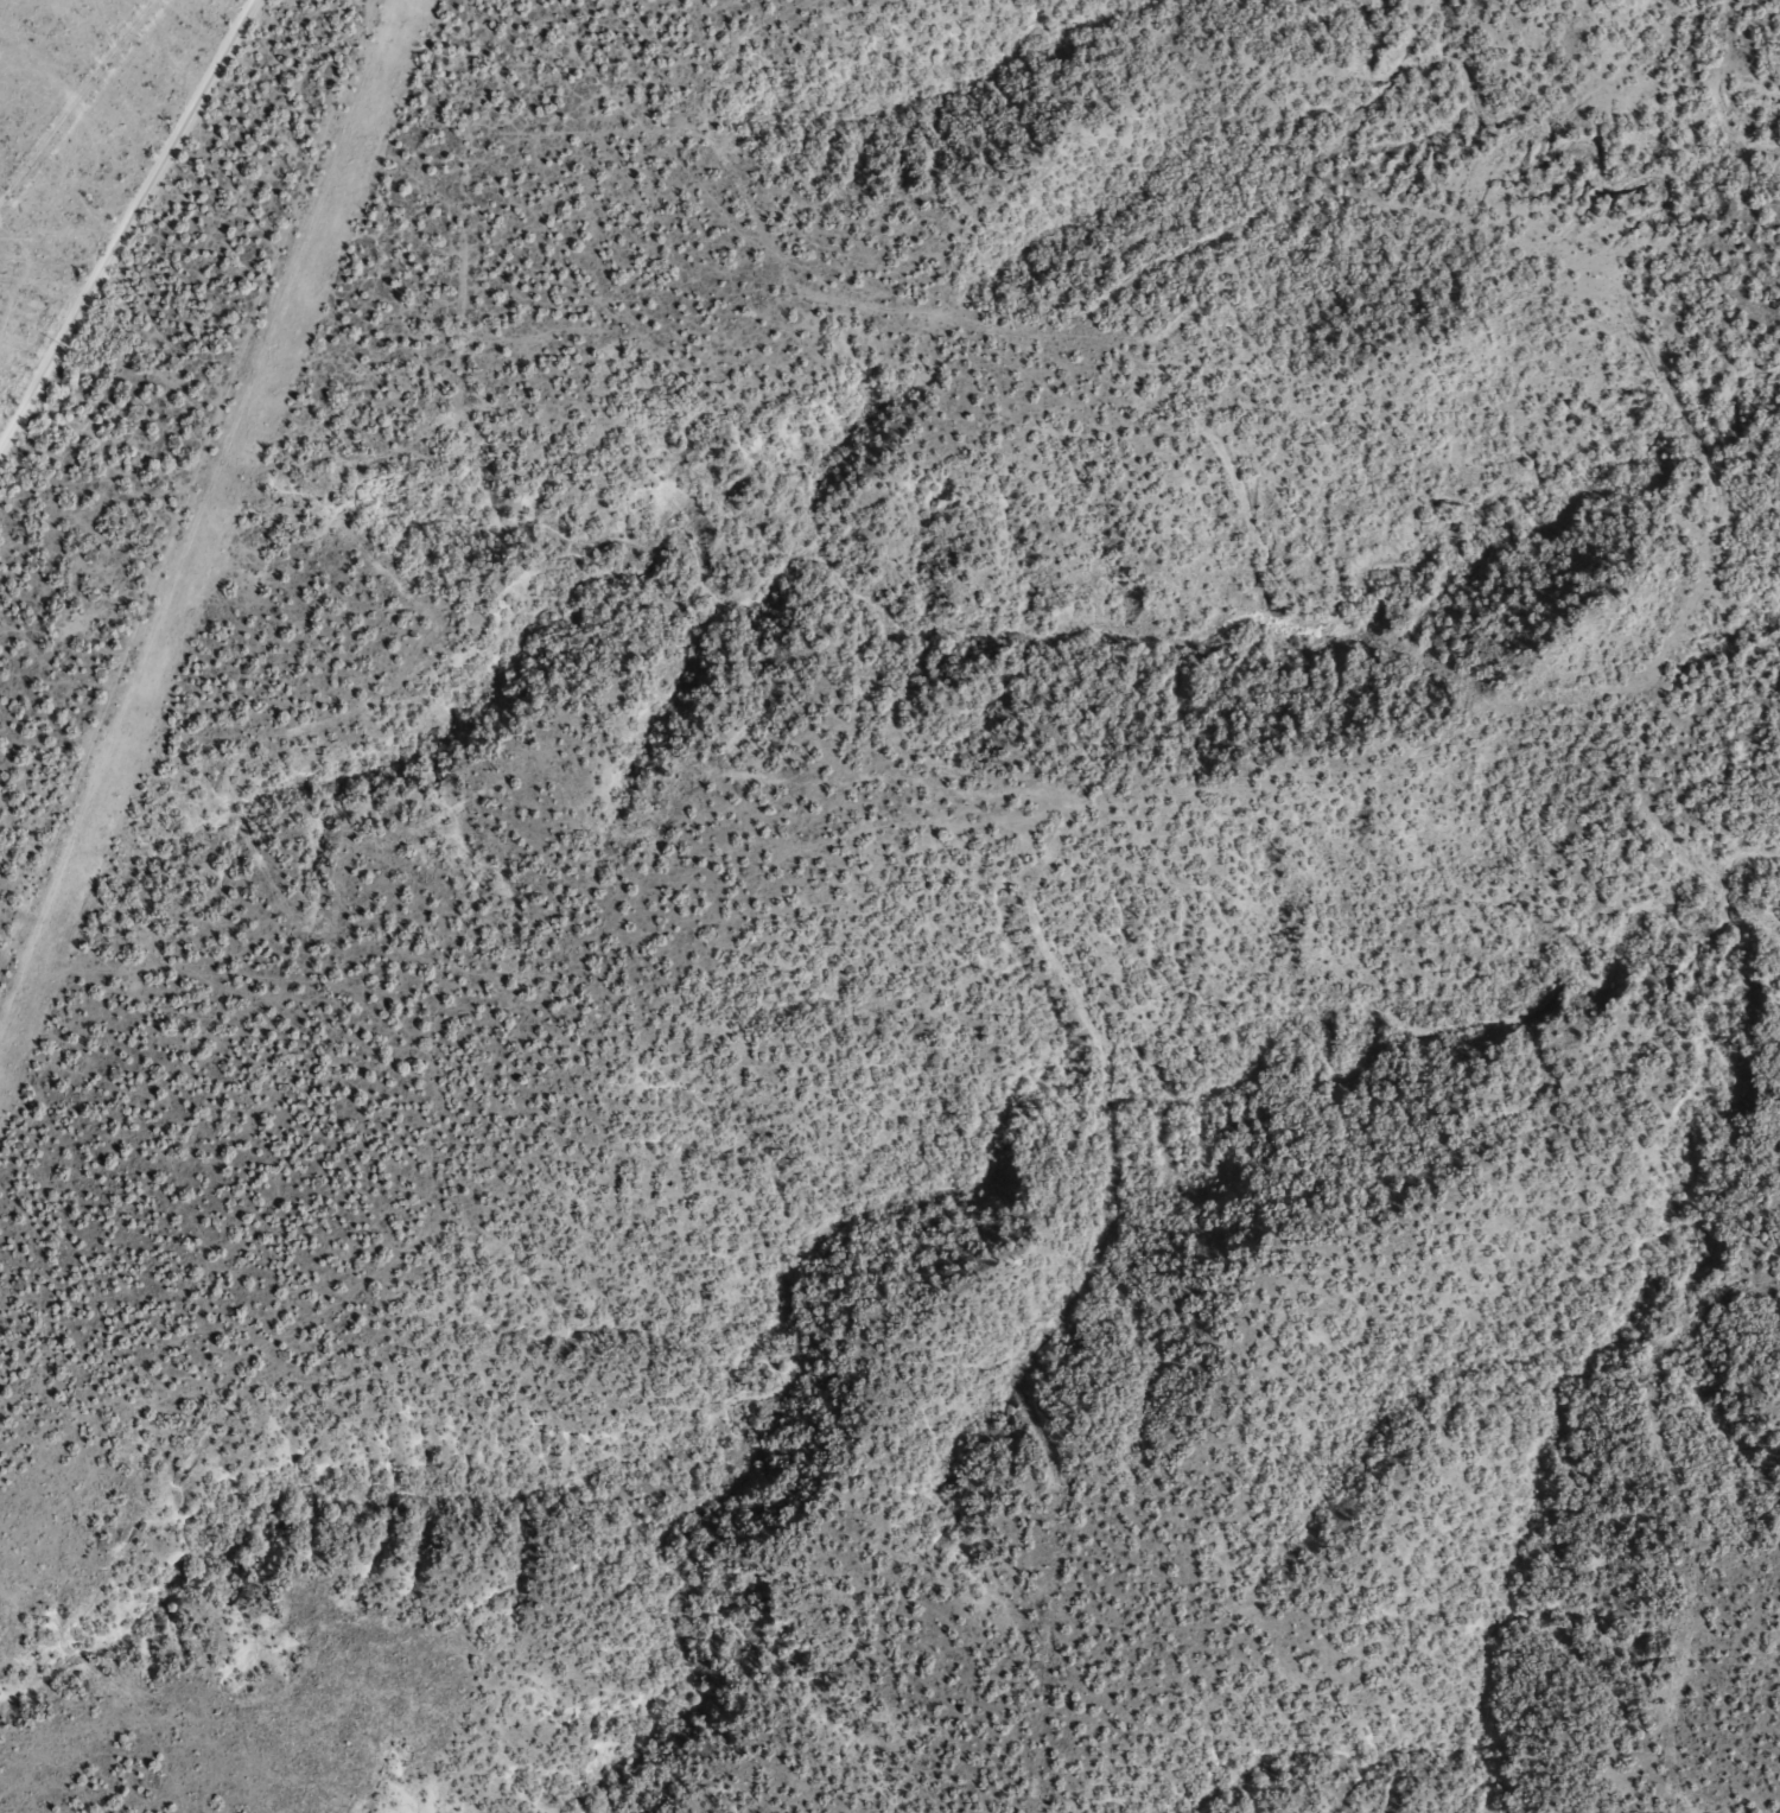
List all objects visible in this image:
road: (154, 257)

